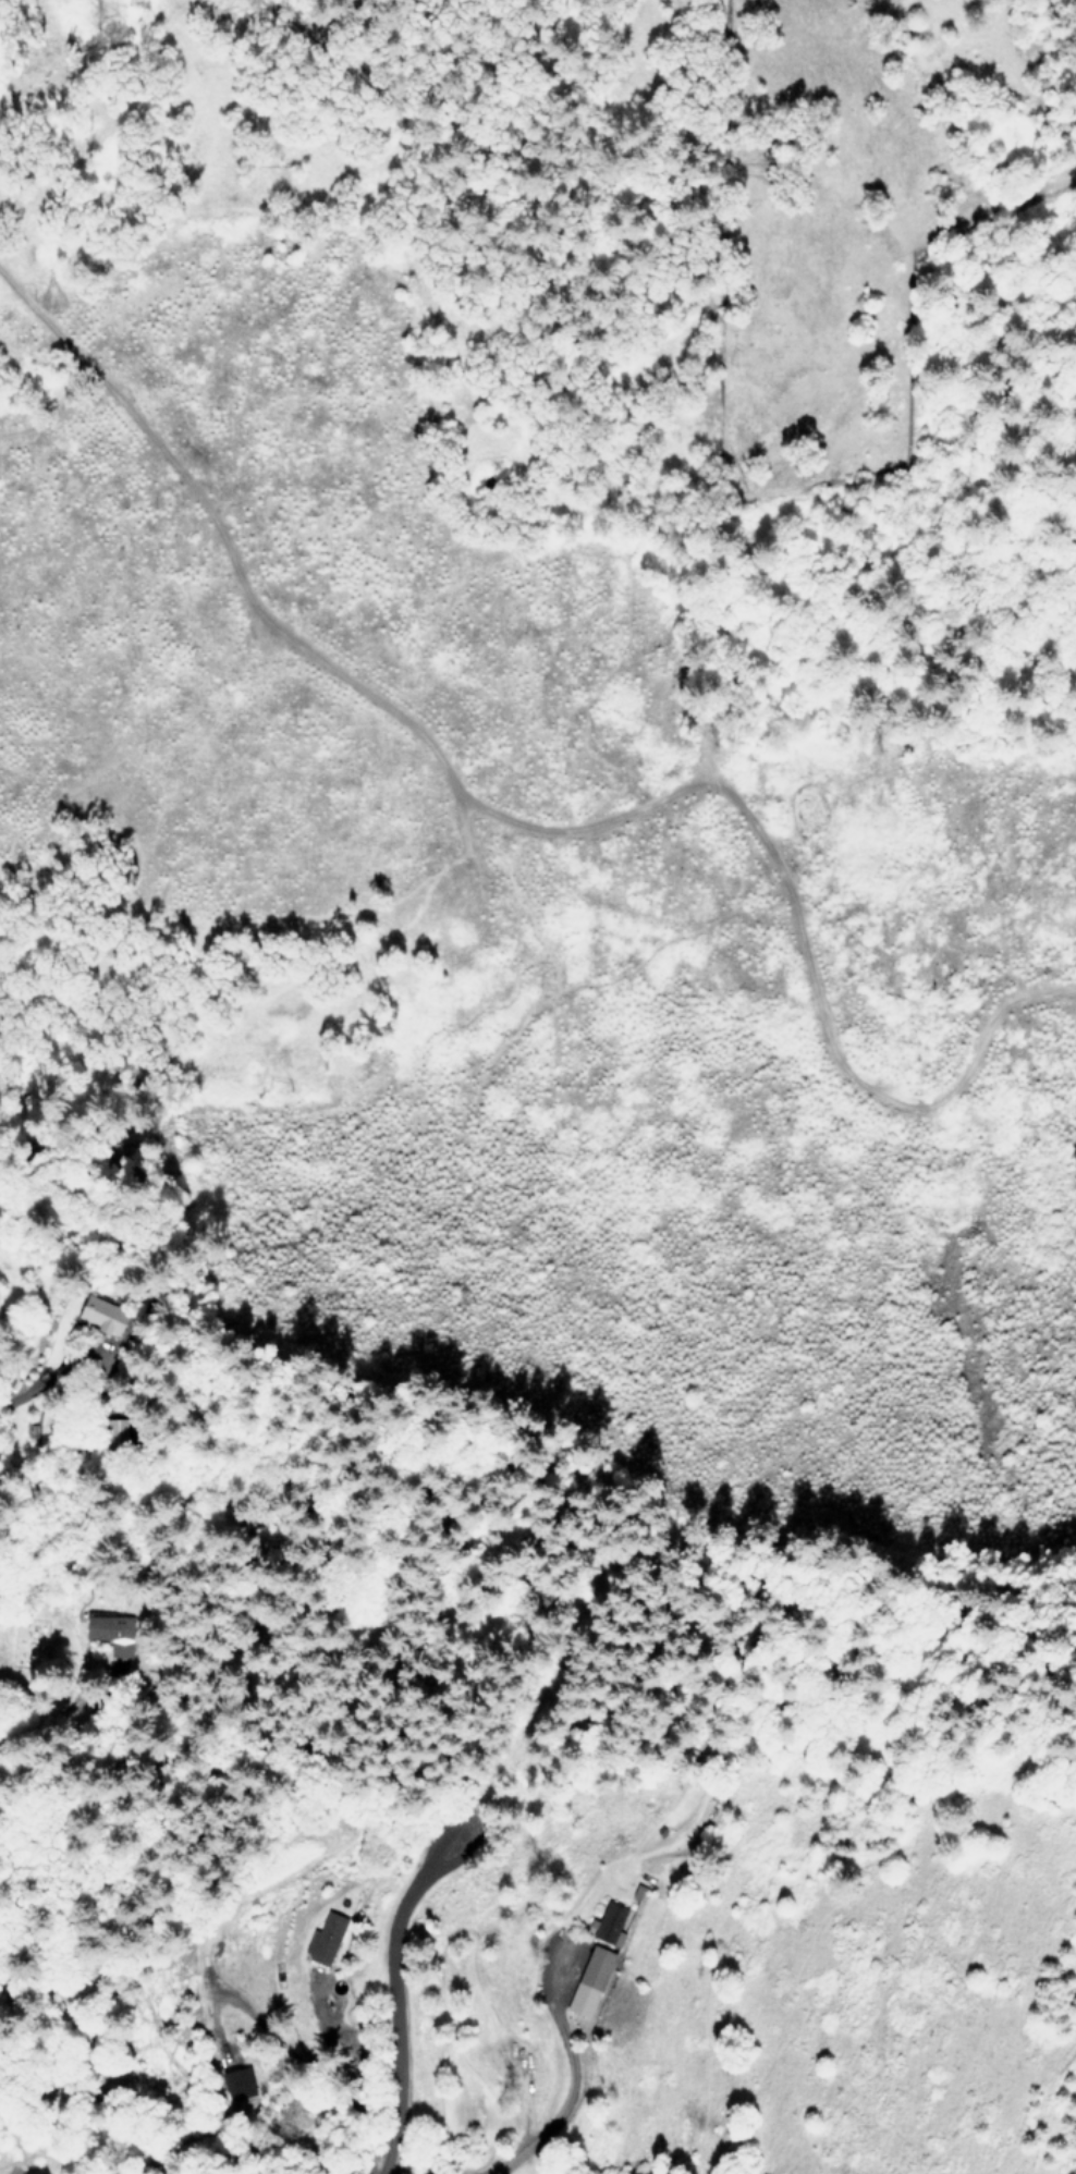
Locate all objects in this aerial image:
building: (103, 1314)
building: (111, 1429)
building: (109, 1627)
building: (610, 1922)
building: (325, 1938)
building: (590, 1979)
road: (398, 1999)
building: (239, 2083)
road: (559, 2114)
road: (394, 2170)

